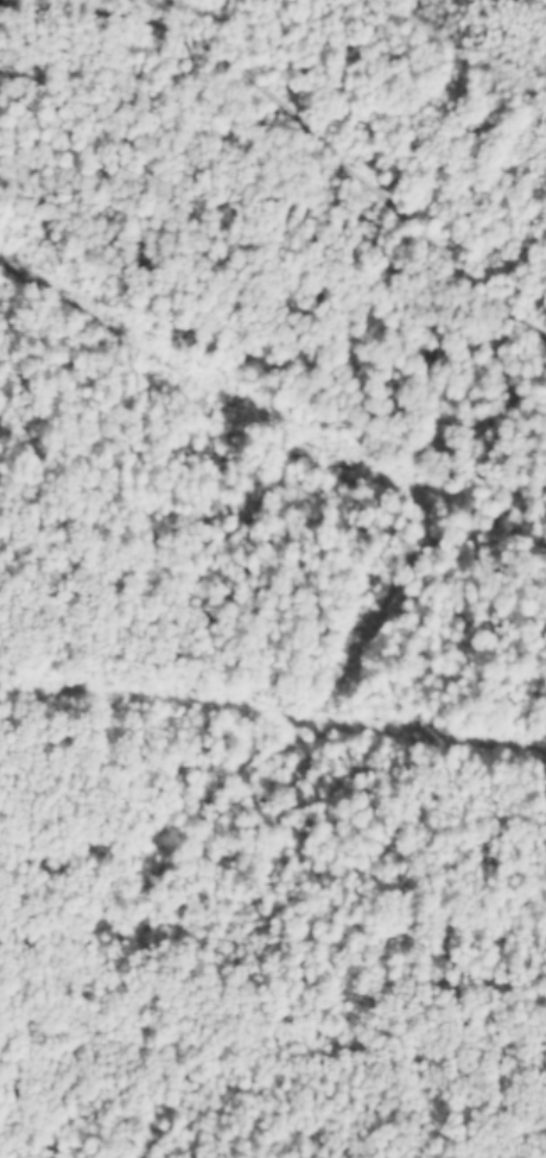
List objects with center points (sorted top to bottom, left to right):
road: (307, 147)

